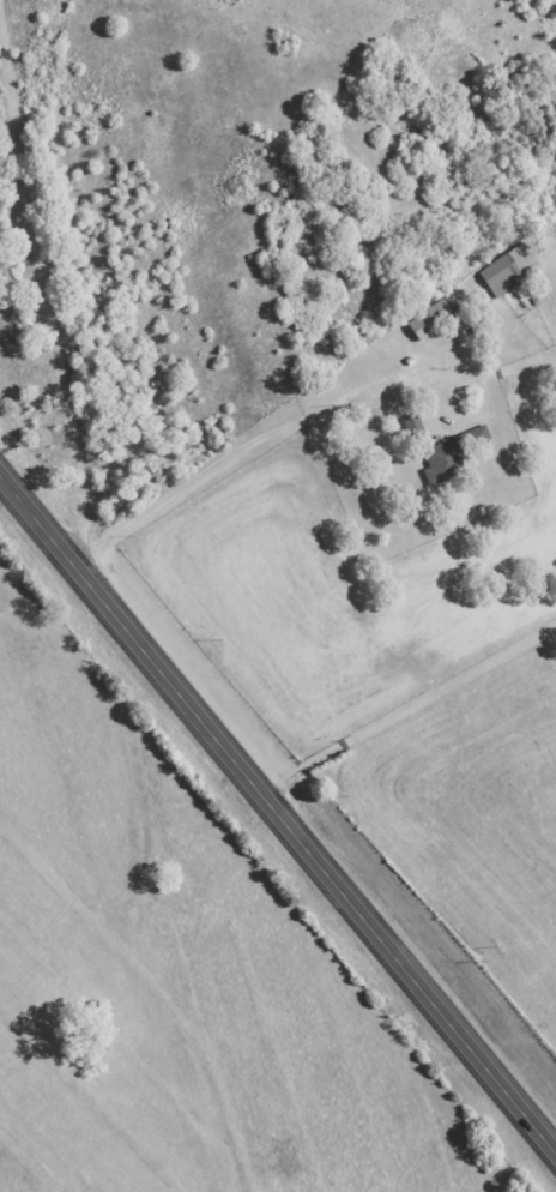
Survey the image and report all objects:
building: (512, 271)
building: (433, 320)
building: (454, 456)
road: (278, 819)

